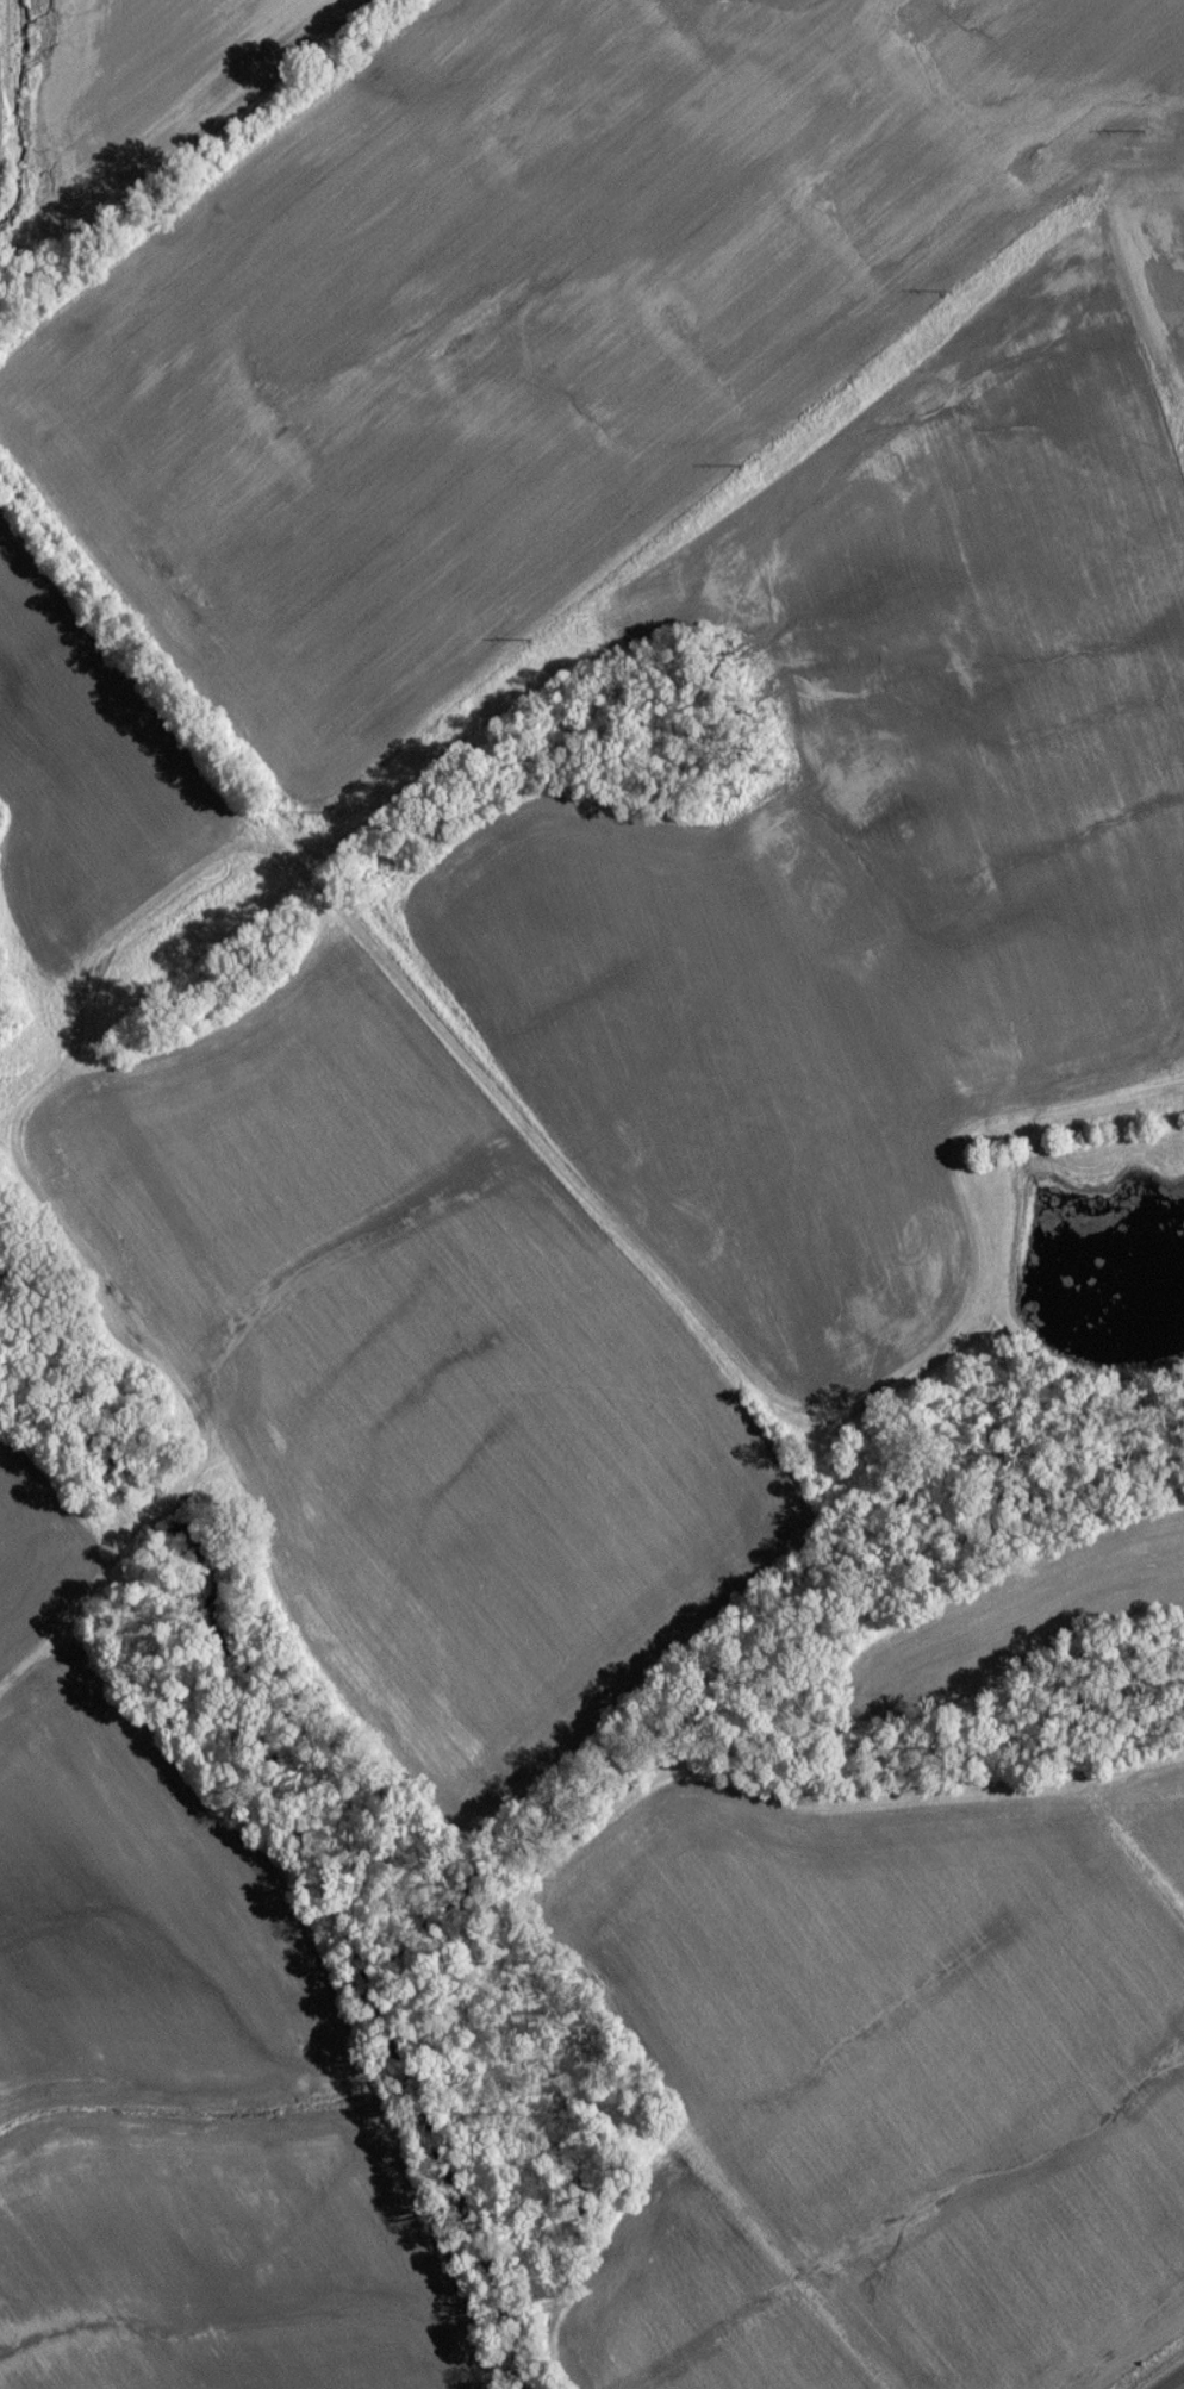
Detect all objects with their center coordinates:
road: (1179, 2387)

